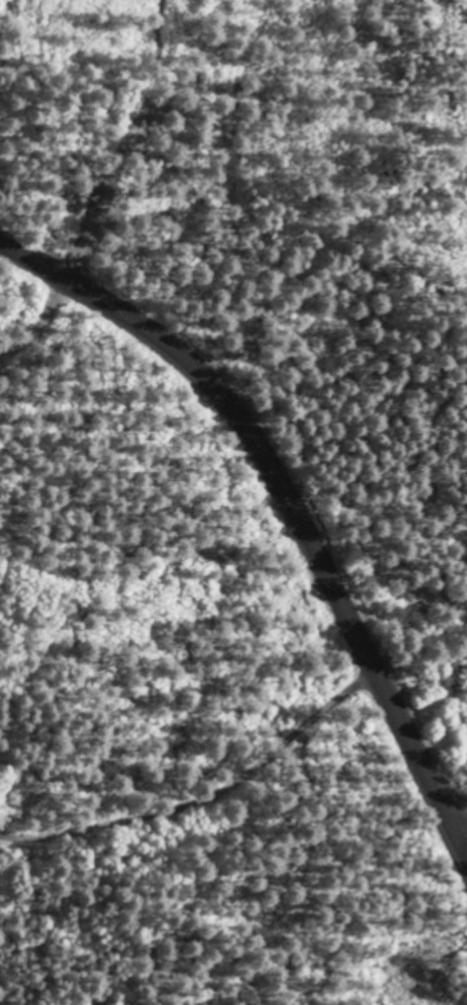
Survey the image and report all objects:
road: (281, 502)
road: (186, 670)
road: (459, 889)

